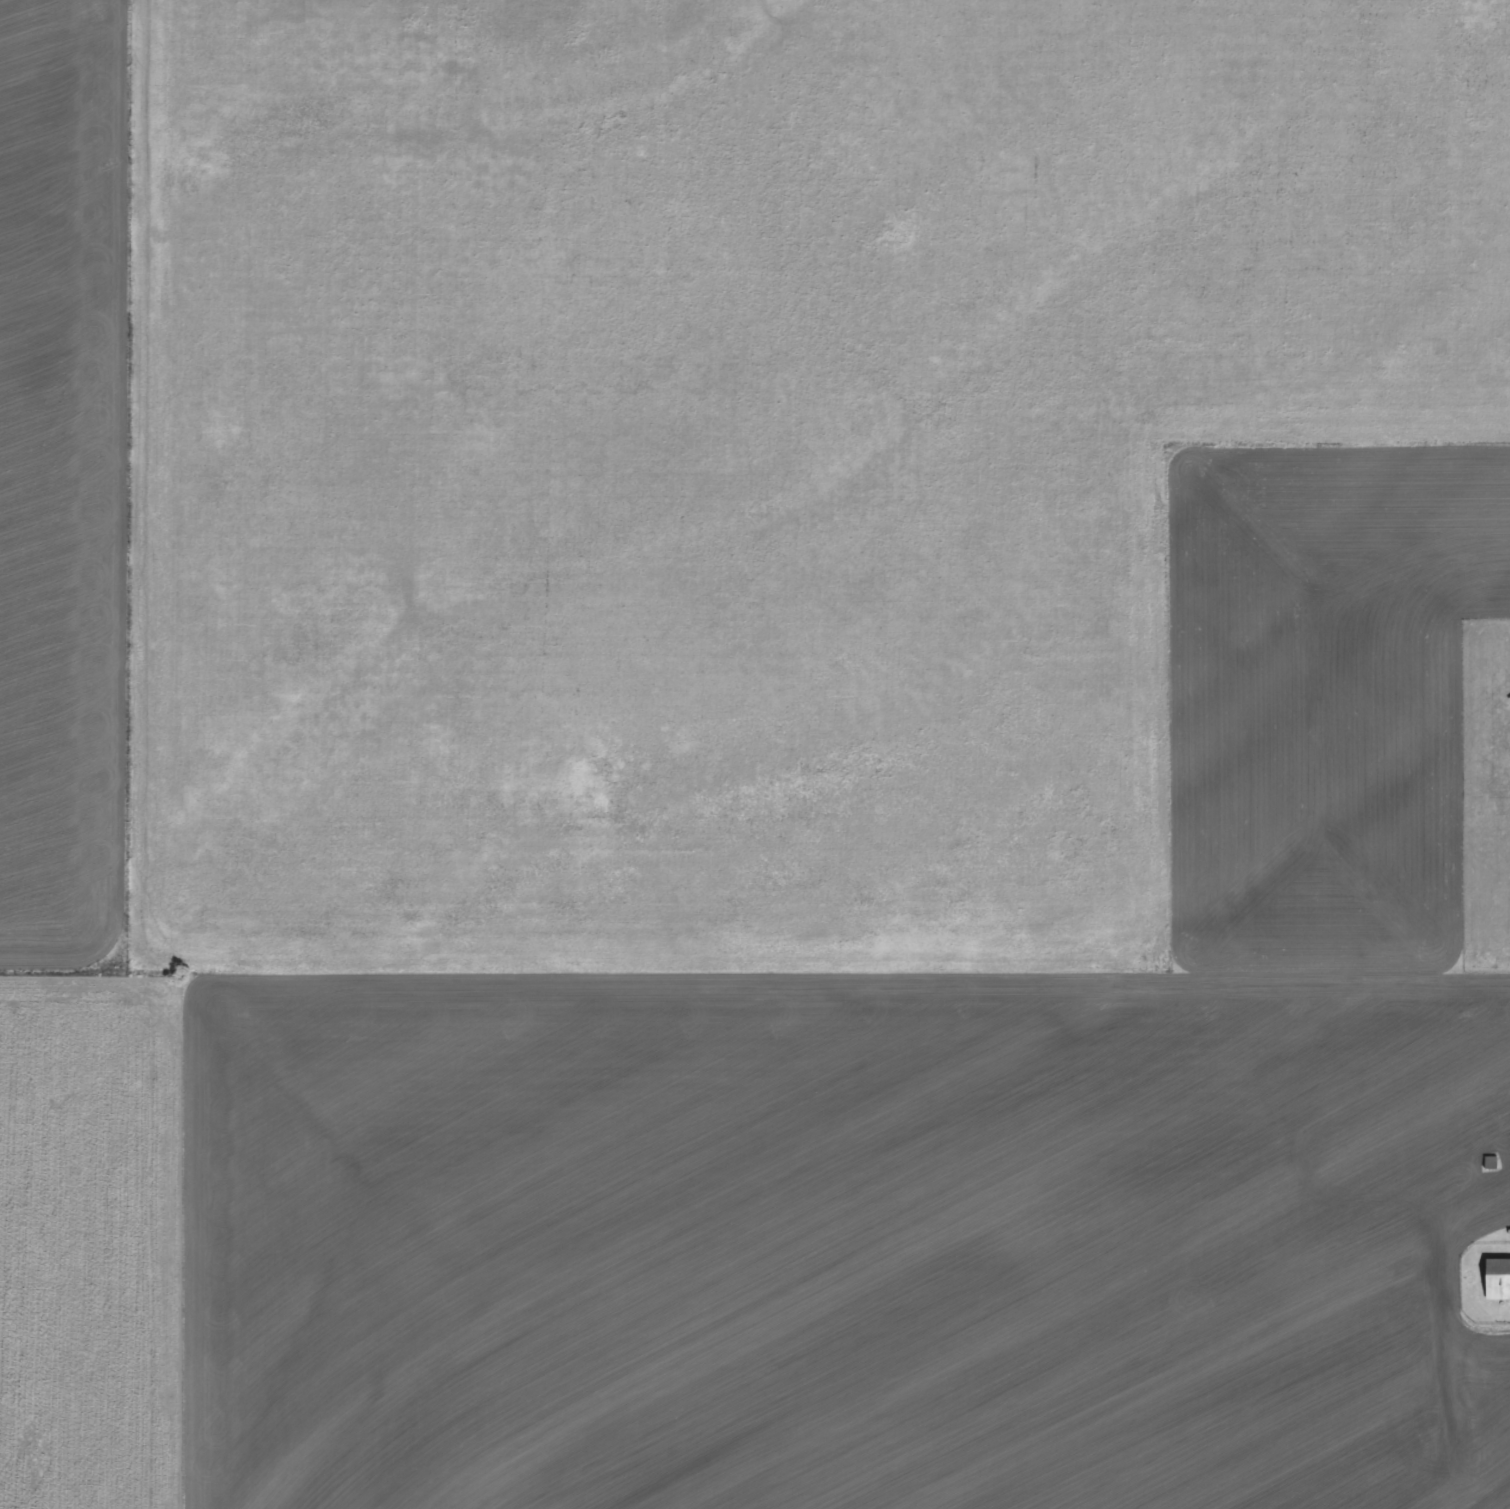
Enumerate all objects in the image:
building: (1495, 1286)

